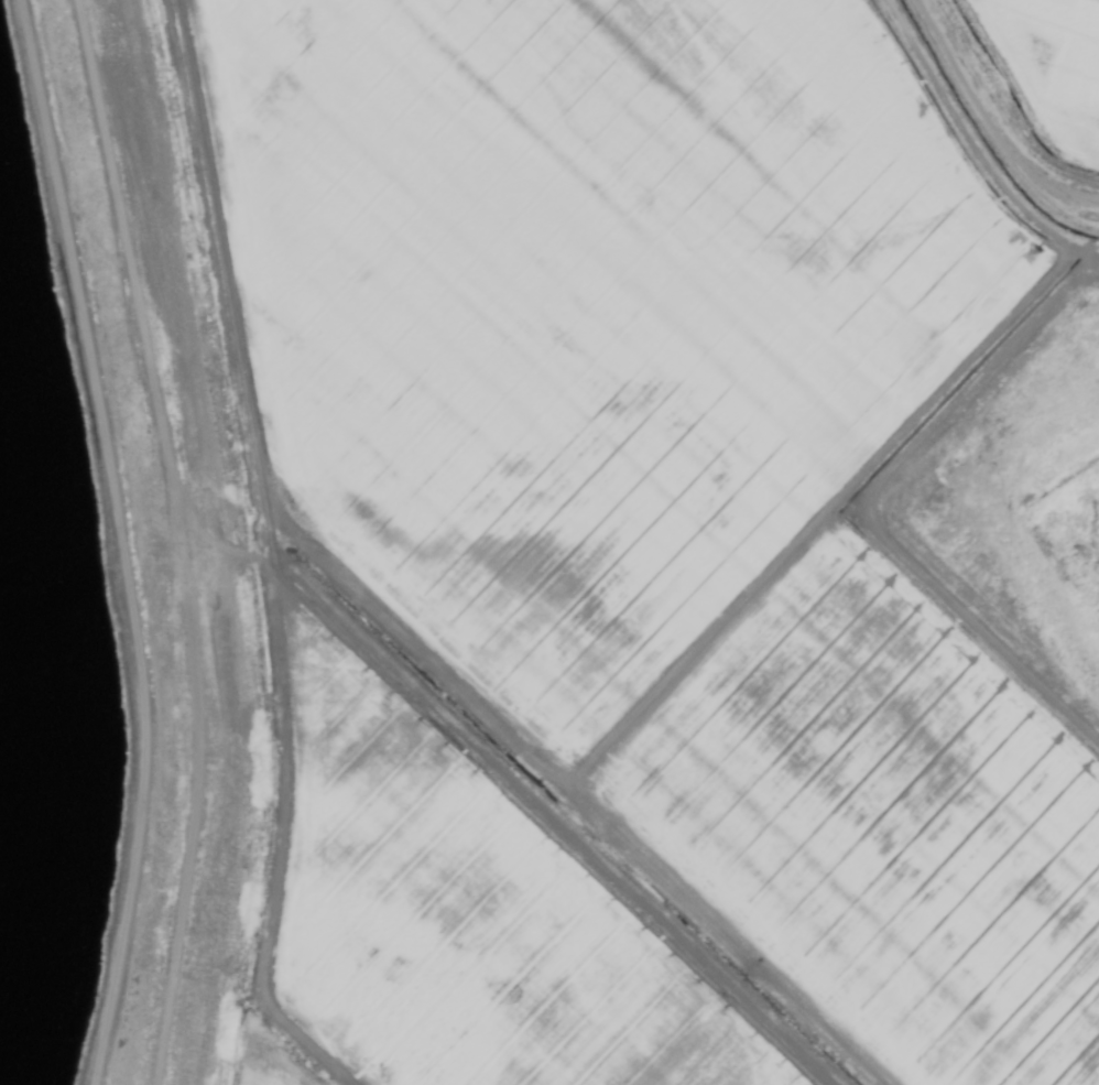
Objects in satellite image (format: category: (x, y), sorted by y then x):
crop: (627, 534)
road: (123, 540)

